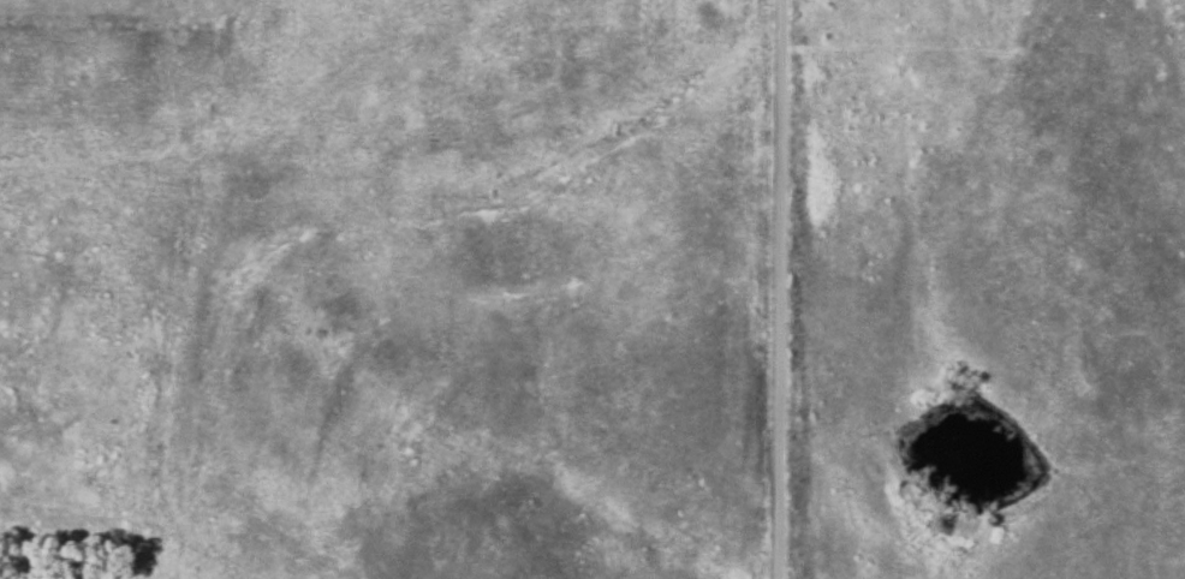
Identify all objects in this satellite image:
road: (782, 289)

